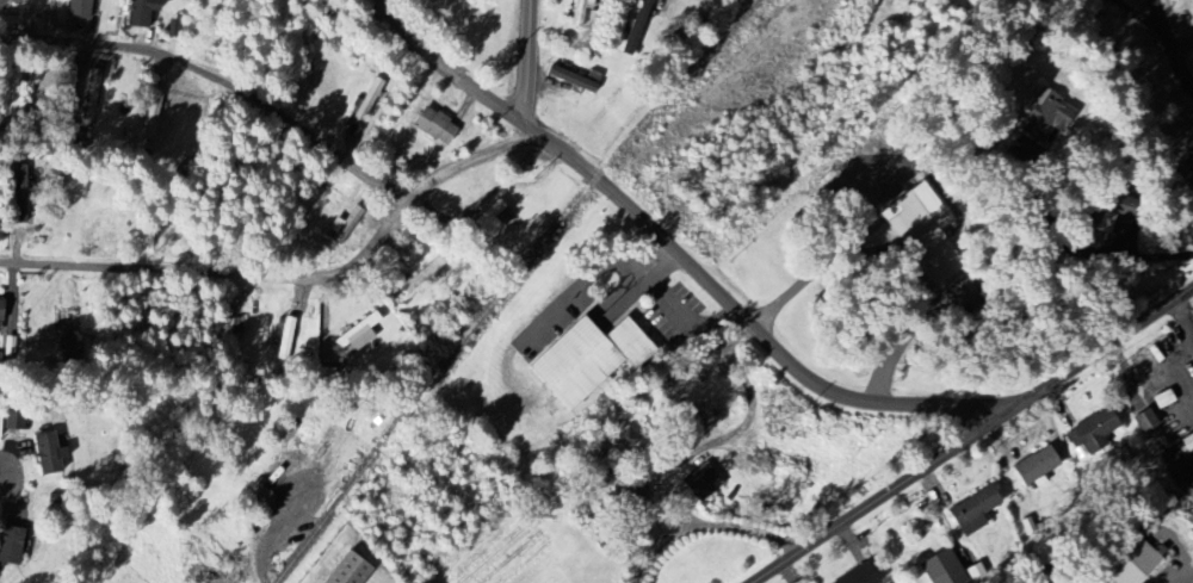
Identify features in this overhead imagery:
building: (5, 4)
building: (76, 10)
building: (140, 13)
building: (581, 14)
road: (1138, 15)
building: (637, 21)
road: (1172, 45)
road: (531, 62)
building: (571, 76)
road: (220, 79)
building: (8, 93)
building: (87, 99)
building: (366, 103)
building: (152, 117)
building: (1038, 117)
building: (431, 125)
building: (69, 138)
road: (501, 150)
building: (21, 194)
building: (344, 228)
building: (917, 234)
road: (675, 246)
road: (1111, 258)
road: (811, 273)
road: (291, 275)
building: (421, 275)
railway: (507, 284)
building: (0, 306)
road: (675, 306)
road: (1185, 317)
building: (356, 335)
road: (904, 337)
building: (586, 360)
building: (1143, 421)
building: (11, 423)
building: (1089, 433)
road: (970, 434)
building: (44, 454)
building: (1033, 466)
building: (700, 482)
building: (628, 498)
building: (970, 511)
building: (8, 551)
building: (1129, 562)
building: (941, 569)
building: (346, 570)
building: (855, 576)

